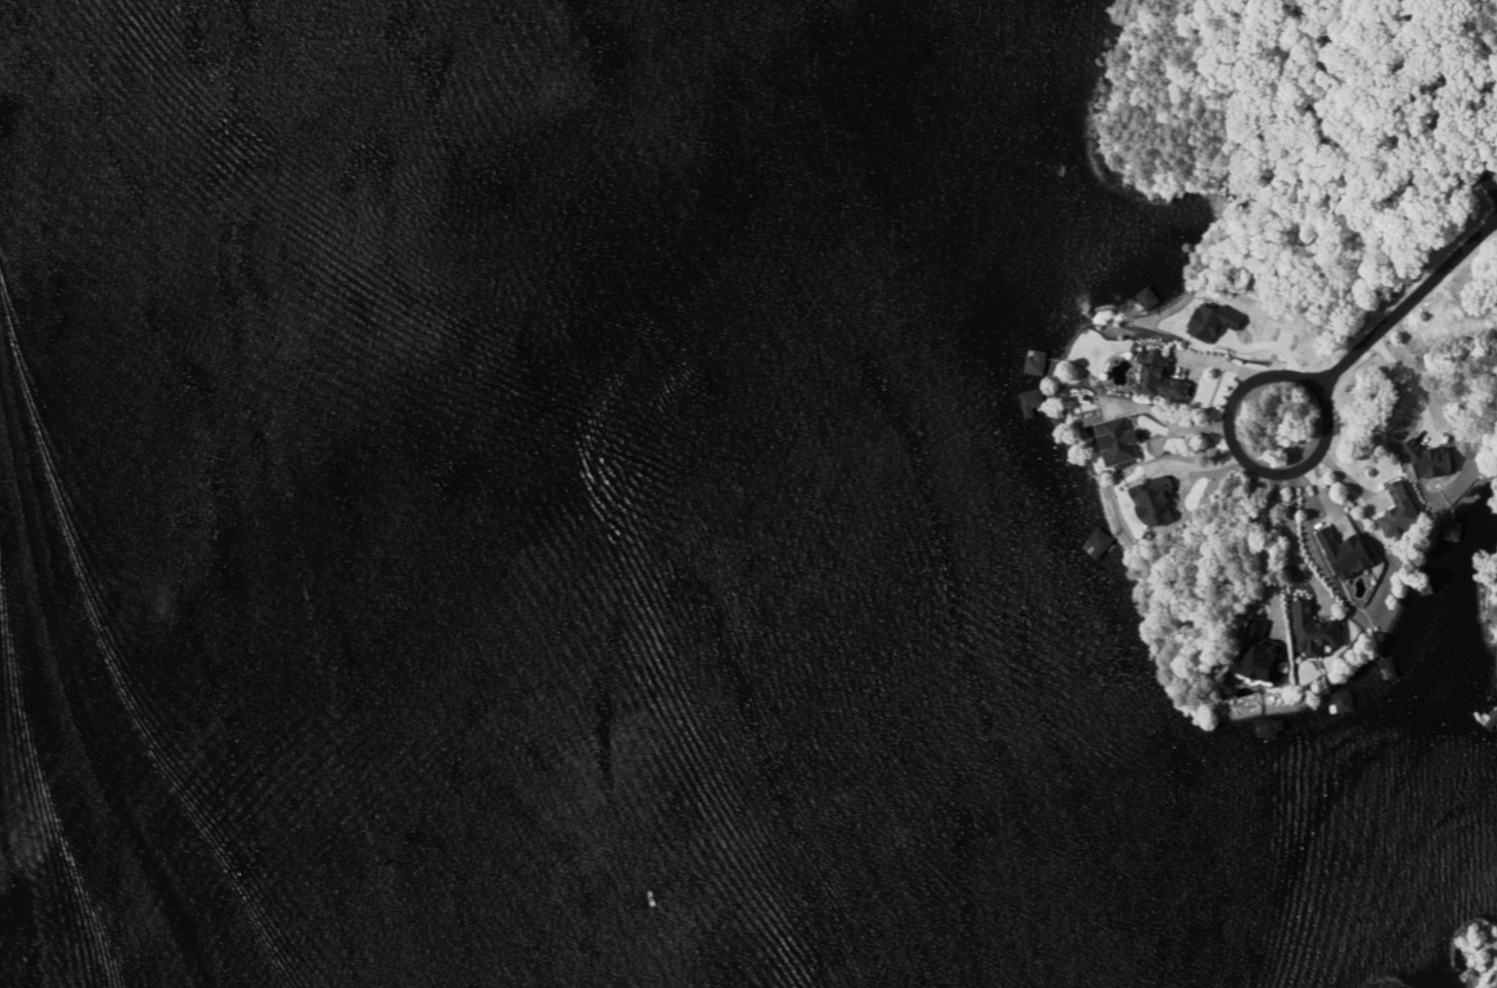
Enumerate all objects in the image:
road: (1495, 188)
road: (1408, 301)
building: (1215, 321)
building: (1037, 362)
building: (1161, 375)
building: (1033, 401)
building: (1122, 440)
road: (1244, 457)
building: (1432, 461)
river: (214, 489)
building: (1157, 502)
building: (1402, 512)
building: (1453, 530)
building: (1349, 553)
building: (1317, 631)
building: (1265, 659)
building: (1389, 667)
building: (1341, 701)
building: (1271, 727)

